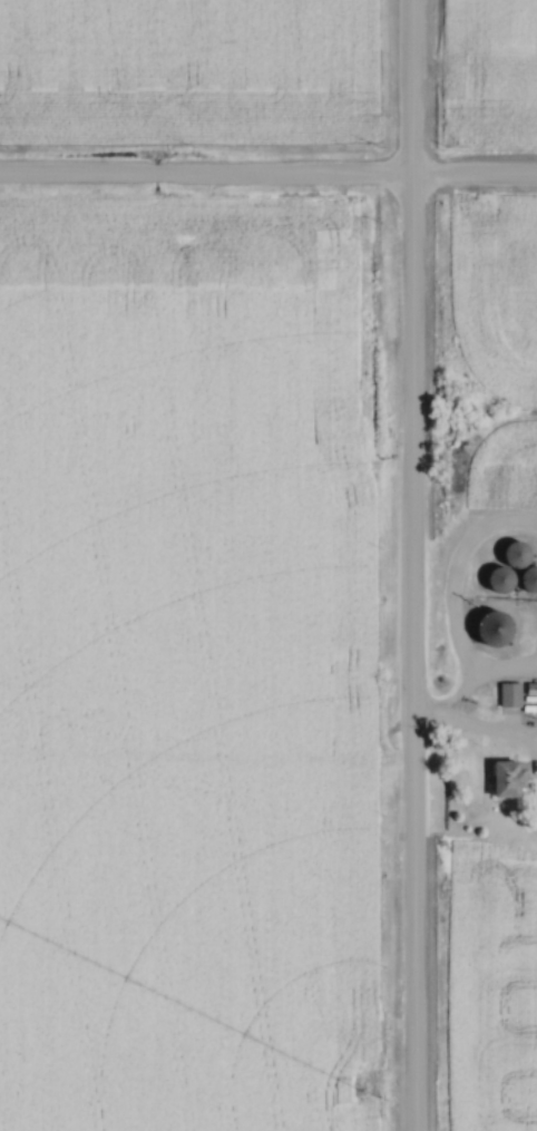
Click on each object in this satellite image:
road: (268, 179)
building: (515, 555)
road: (409, 565)
building: (529, 581)
building: (498, 582)
building: (491, 631)
building: (530, 691)
building: (507, 696)
road: (452, 705)
road: (432, 718)
building: (509, 779)

